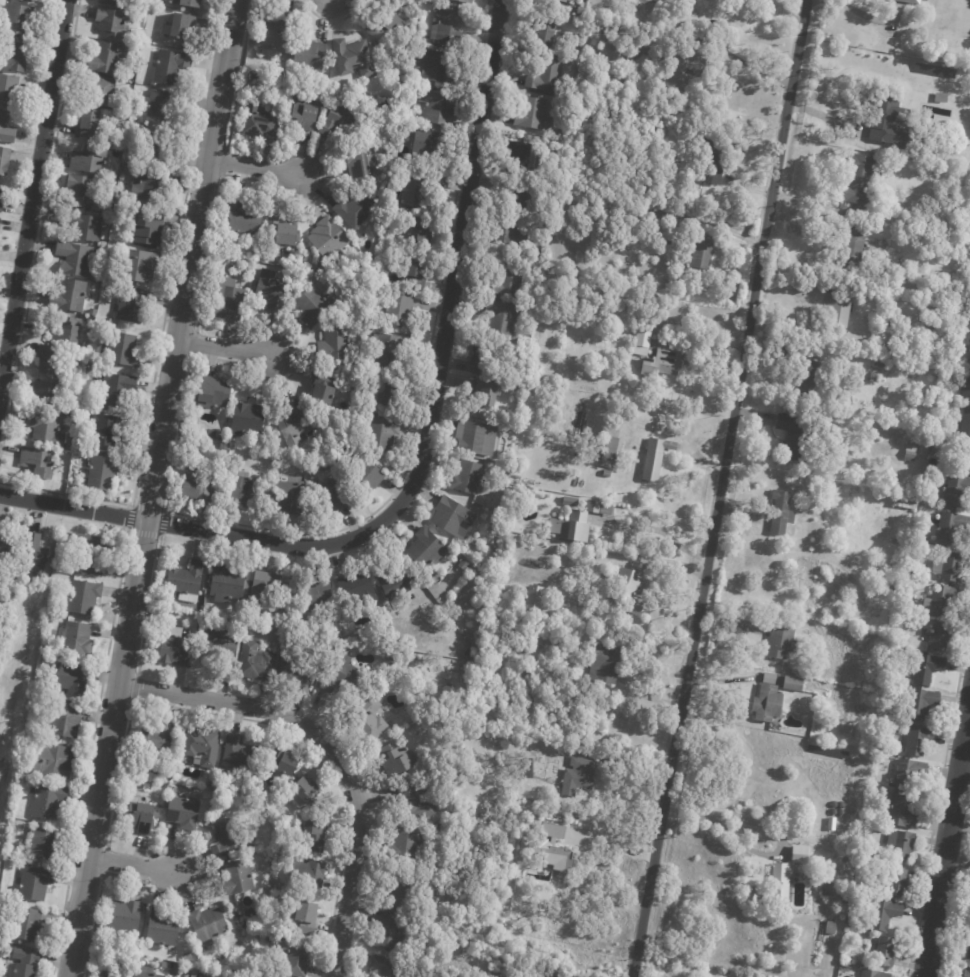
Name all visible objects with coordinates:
building: (27, 0)
building: (625, 0)
building: (465, 1)
building: (564, 1)
building: (117, 3)
building: (187, 3)
building: (408, 4)
building: (581, 12)
building: (893, 12)
road: (857, 13)
building: (17, 20)
building: (114, 23)
building: (386, 24)
building: (182, 25)
building: (450, 27)
building: (635, 29)
building: (546, 34)
building: (274, 38)
building: (608, 50)
building: (636, 55)
building: (310, 56)
building: (14, 57)
building: (107, 58)
building: (353, 59)
road: (746, 65)
building: (170, 67)
building: (439, 67)
building: (681, 68)
building: (281, 74)
building: (547, 75)
building: (9, 92)
building: (101, 92)
building: (944, 98)
building: (160, 106)
building: (439, 108)
building: (305, 114)
building: (532, 114)
building: (119, 117)
building: (888, 119)
building: (258, 120)
building: (339, 121)
building: (89, 124)
building: (132, 128)
building: (6, 129)
building: (425, 144)
building: (156, 150)
building: (708, 150)
building: (519, 154)
building: (4, 160)
building: (91, 161)
building: (363, 164)
road: (253, 166)
building: (395, 169)
building: (862, 179)
building: (150, 186)
road: (32, 189)
building: (415, 189)
building: (80, 192)
building: (525, 195)
building: (1, 198)
building: (621, 205)
building: (960, 206)
building: (357, 211)
building: (109, 212)
building: (659, 212)
building: (884, 212)
building: (409, 213)
building: (244, 219)
building: (270, 225)
building: (82, 226)
building: (146, 227)
building: (422, 234)
building: (287, 236)
building: (328, 239)
building: (511, 240)
building: (853, 248)
building: (703, 252)
building: (75, 260)
building: (136, 266)
building: (315, 267)
building: (417, 275)
building: (508, 279)
building: (616, 289)
building: (271, 291)
building: (69, 296)
building: (229, 303)
building: (132, 306)
building: (314, 306)
building: (402, 310)
building: (839, 311)
building: (502, 317)
building: (109, 322)
building: (66, 330)
building: (643, 340)
building: (969, 344)
building: (334, 346)
road: (222, 348)
building: (122, 351)
building: (389, 351)
building: (83, 356)
building: (969, 357)
building: (481, 362)
building: (809, 362)
building: (52, 363)
building: (663, 363)
building: (883, 363)
building: (873, 378)
building: (809, 385)
building: (966, 385)
building: (318, 390)
building: (116, 391)
building: (208, 391)
building: (391, 392)
building: (486, 393)
building: (46, 395)
building: (242, 421)
building: (286, 423)
building: (965, 423)
building: (47, 430)
building: (103, 431)
building: (605, 432)
building: (381, 435)
building: (796, 436)
building: (928, 436)
building: (476, 437)
building: (936, 443)
building: (611, 451)
building: (911, 452)
building: (656, 458)
building: (966, 458)
road: (420, 459)
building: (39, 463)
building: (306, 463)
building: (317, 467)
building: (102, 473)
building: (606, 474)
building: (466, 476)
building: (365, 479)
building: (197, 487)
road: (150, 488)
road: (718, 488)
building: (955, 490)
building: (247, 491)
building: (520, 492)
building: (291, 498)
building: (332, 498)
building: (571, 501)
building: (904, 501)
building: (783, 512)
building: (491, 515)
building: (453, 517)
building: (576, 522)
building: (951, 527)
road: (655, 530)
building: (3, 542)
building: (427, 548)
building: (34, 553)
building: (91, 553)
building: (57, 564)
building: (465, 564)
building: (951, 566)
building: (185, 581)
building: (396, 581)
building: (226, 583)
building: (264, 587)
building: (356, 587)
building: (629, 591)
building: (313, 593)
building: (83, 596)
building: (534, 599)
building: (943, 601)
building: (905, 609)
building: (335, 620)
building: (203, 624)
building: (548, 634)
building: (939, 635)
building: (279, 637)
building: (76, 638)
building: (558, 640)
building: (782, 641)
building: (330, 644)
building: (220, 646)
building: (175, 647)
building: (462, 652)
building: (255, 662)
building: (604, 664)
building: (928, 668)
building: (796, 672)
building: (340, 673)
building: (297, 676)
building: (71, 678)
building: (787, 683)
building: (449, 690)
building: (763, 699)
building: (922, 703)
building: (369, 719)
building: (65, 720)
building: (156, 738)
building: (912, 740)
building: (202, 746)
road: (332, 752)
building: (240, 755)
building: (884, 755)
building: (397, 759)
road: (964, 759)
building: (52, 761)
building: (288, 763)
building: (528, 768)
building: (902, 773)
building: (579, 776)
building: (306, 789)
building: (47, 801)
building: (416, 801)
building: (183, 812)
building: (902, 812)
building: (140, 817)
road: (720, 818)
building: (826, 823)
building: (315, 836)
building: (229, 837)
road: (945, 837)
road: (613, 839)
building: (41, 844)
building: (404, 845)
building: (903, 845)
building: (547, 850)
building: (795, 854)
road: (129, 864)
building: (237, 877)
building: (309, 877)
building: (34, 883)
building: (898, 883)
building: (770, 886)
building: (829, 890)
building: (402, 894)
building: (845, 899)
building: (563, 909)
building: (885, 914)
building: (125, 916)
building: (307, 917)
building: (207, 923)
building: (27, 926)
building: (831, 928)
building: (163, 931)
building: (387, 933)
building: (968, 945)
building: (887, 952)
building: (294, 957)
building: (25, 963)
building: (389, 967)
building: (126, 970)
building: (144, 972)
building: (966, 973)
building: (875, 974)
building: (265, 976)
building: (549, 976)

